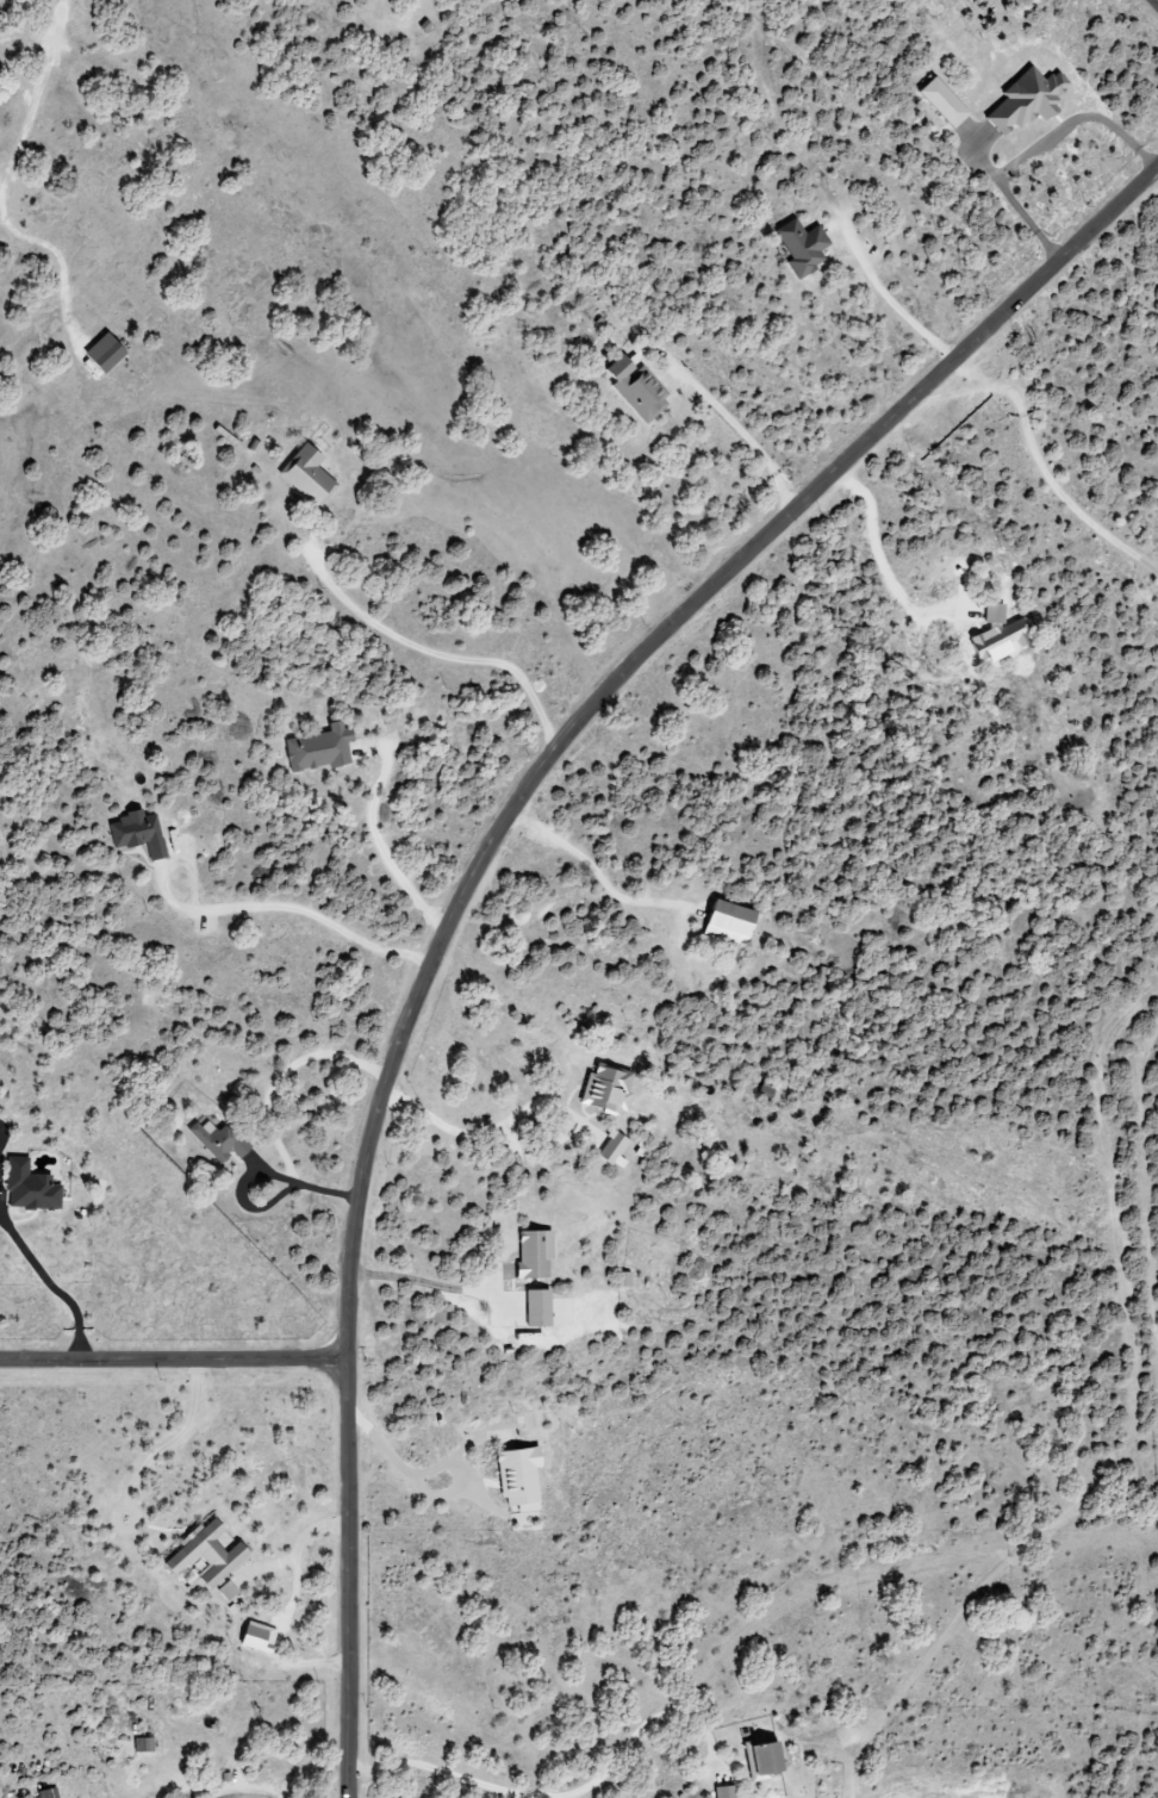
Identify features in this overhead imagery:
road: (1154, 2)
building: (1023, 99)
building: (939, 102)
road: (1038, 143)
building: (798, 248)
road: (895, 299)
building: (100, 354)
building: (634, 388)
road: (743, 436)
road: (1045, 467)
building: (305, 475)
building: (996, 635)
road: (430, 655)
building: (316, 748)
building: (136, 833)
road: (381, 839)
road: (485, 857)
road: (596, 873)
road: (289, 907)
building: (723, 922)
building: (604, 1089)
road: (474, 1134)
building: (217, 1139)
building: (611, 1150)
road: (304, 1178)
building: (32, 1188)
building: (531, 1255)
road: (429, 1277)
road: (50, 1284)
building: (535, 1308)
road: (173, 1362)
road: (166, 1442)
road: (391, 1448)
building: (516, 1477)
building: (211, 1554)
building: (230, 1591)
road: (289, 1606)
building: (262, 1637)
road: (631, 1742)
building: (147, 1744)
building: (758, 1760)
road: (437, 1771)
building: (722, 1791)
building: (48, 1793)

